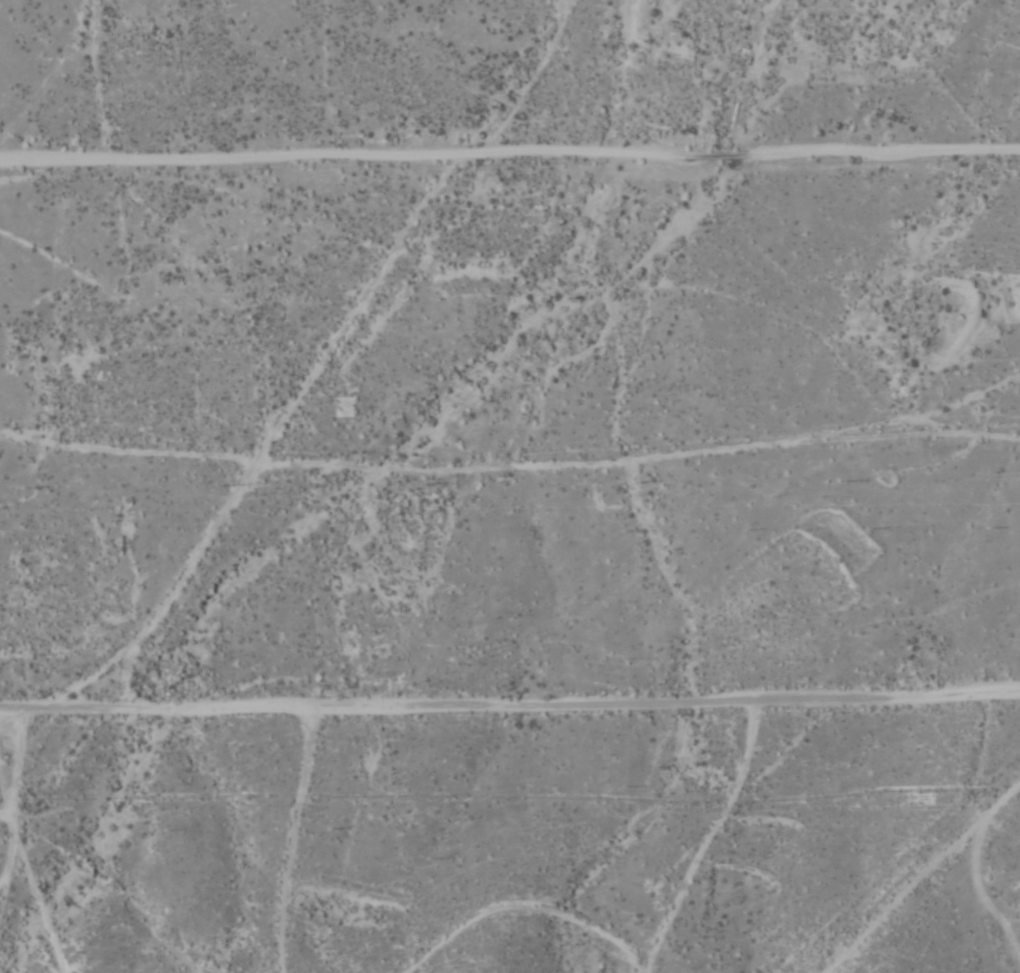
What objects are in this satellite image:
road: (509, 713)

